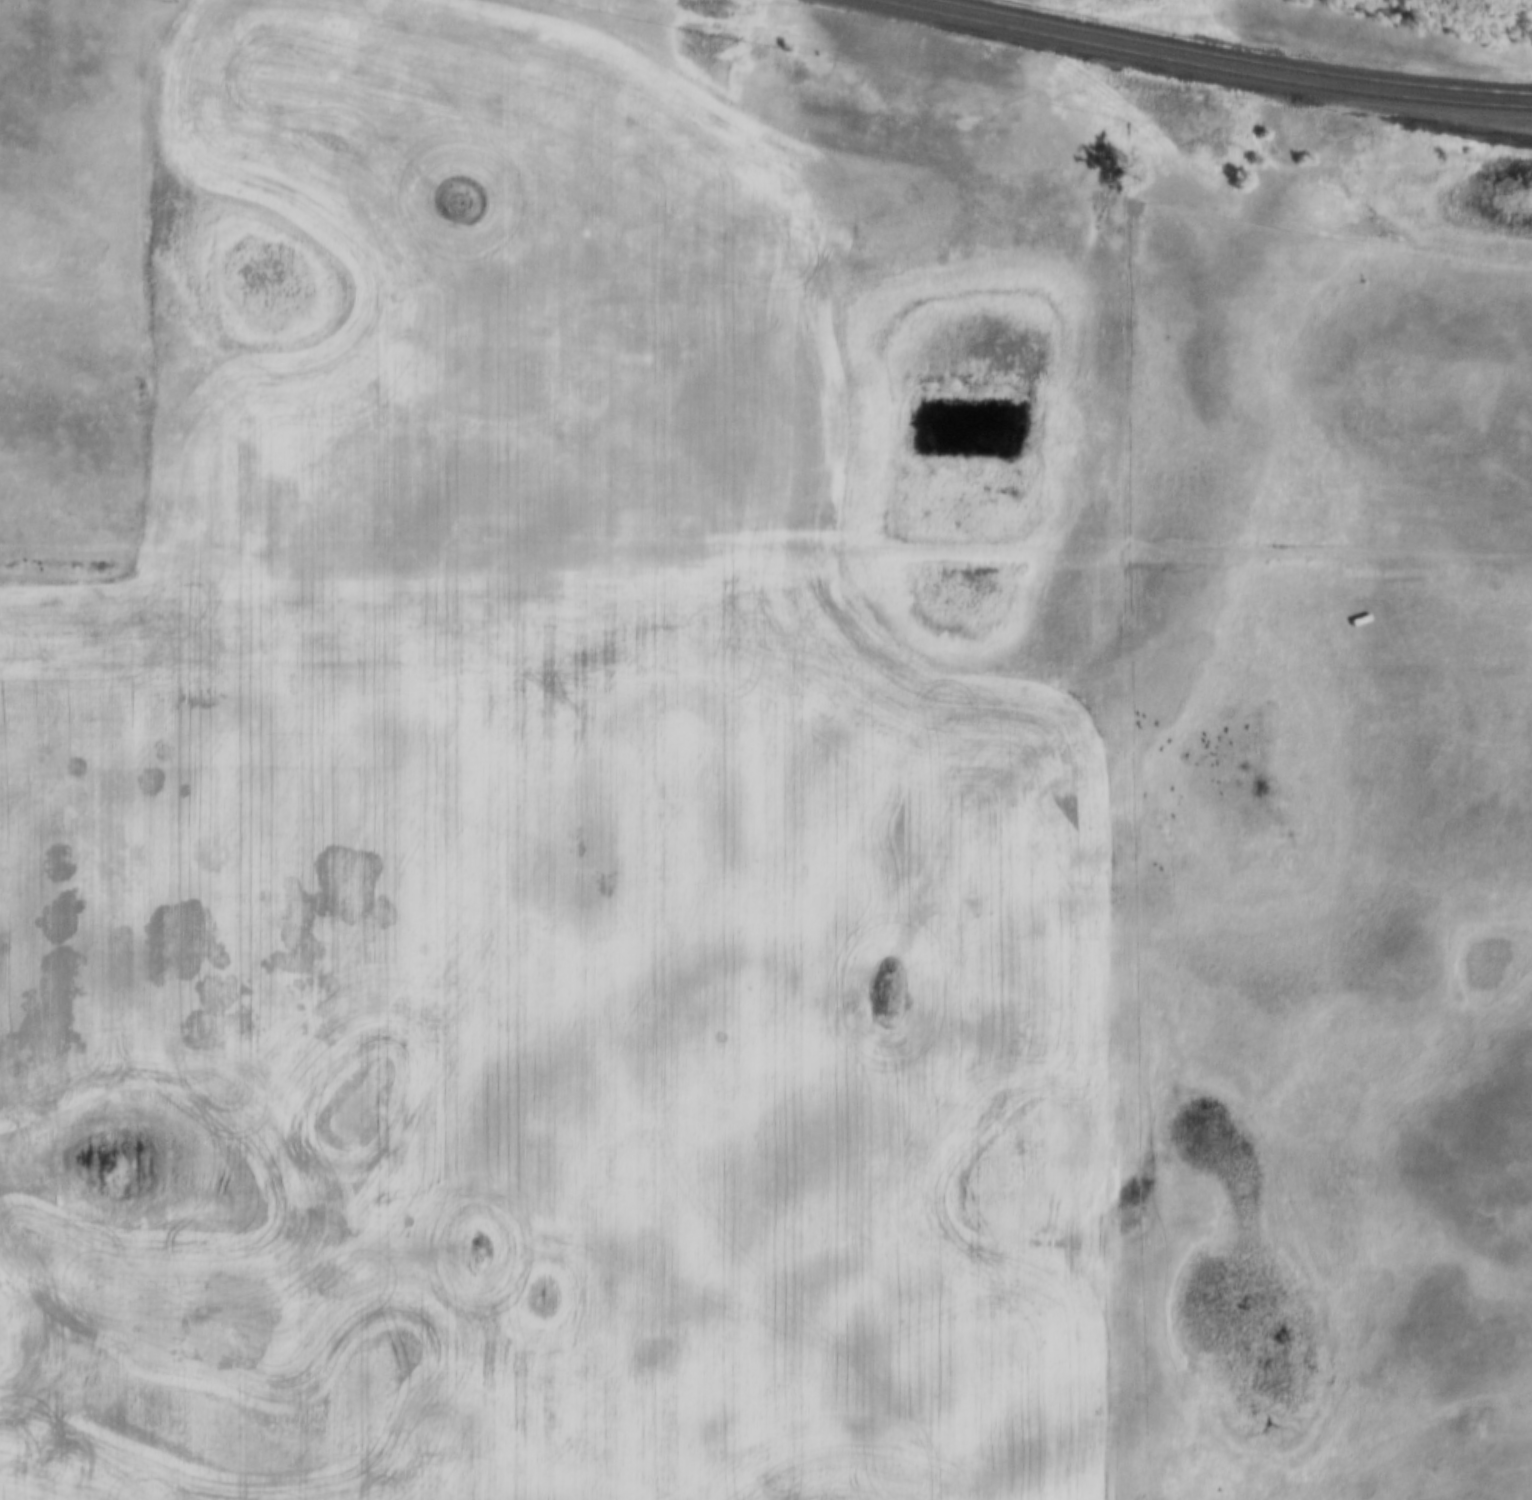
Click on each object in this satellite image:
railway: (1228, 59)
railway: (1195, 67)
road: (63, 551)

